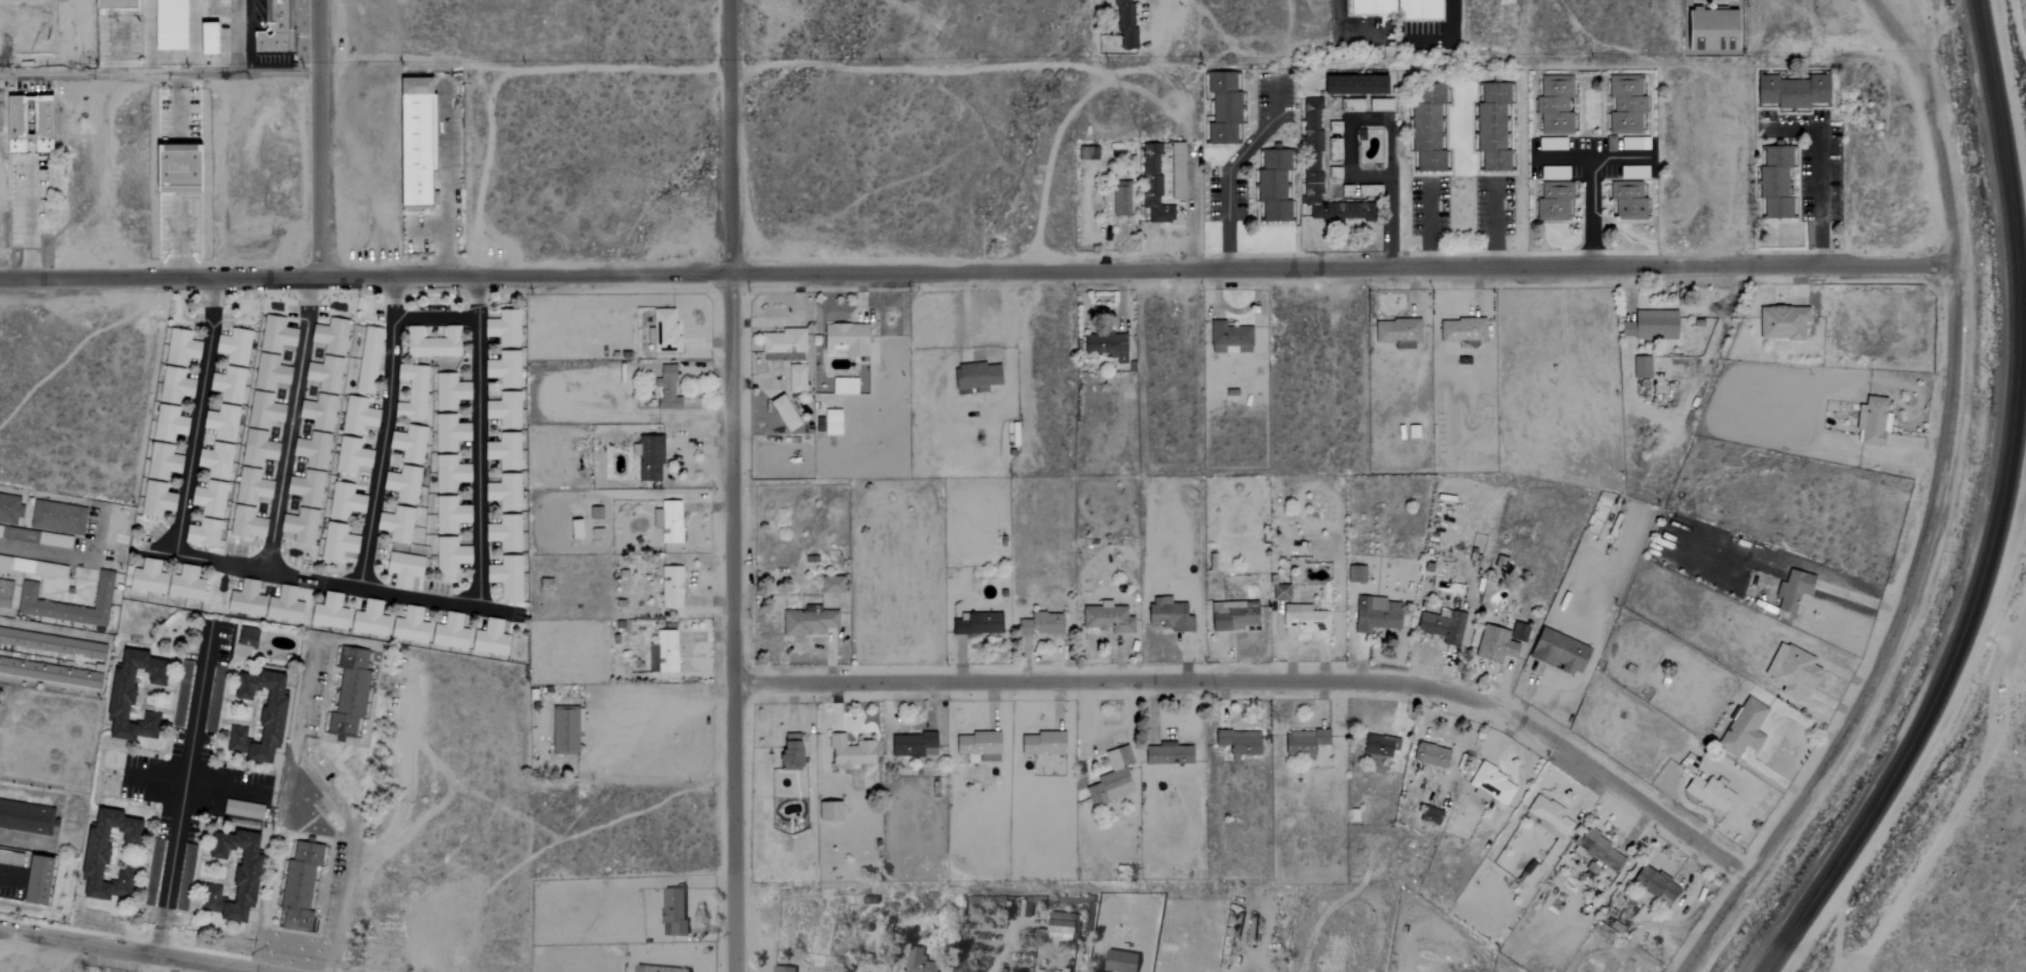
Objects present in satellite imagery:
building: (1395, 8)
road: (1146, 16)
building: (1123, 24)
building: (175, 25)
building: (1708, 29)
building: (278, 30)
building: (215, 39)
road: (1046, 64)
road: (158, 75)
road: (2013, 76)
building: (1350, 84)
building: (1791, 91)
building: (1378, 105)
building: (1553, 105)
building: (1624, 105)
road: (177, 106)
building: (1353, 106)
building: (1222, 109)
building: (34, 123)
building: (1425, 126)
building: (1491, 126)
building: (1332, 128)
road: (316, 139)
building: (423, 141)
building: (1633, 143)
building: (1549, 144)
building: (1310, 150)
building: (1332, 150)
road: (1591, 158)
building: (176, 166)
road: (1346, 166)
road: (1229, 167)
road: (1816, 170)
building: (1175, 171)
building: (1552, 172)
building: (1332, 173)
road: (448, 181)
building: (1774, 181)
building: (1271, 185)
building: (1151, 187)
building: (1344, 191)
building: (1367, 191)
road: (178, 194)
building: (1119, 198)
building: (1626, 200)
building: (1552, 201)
road: (1591, 214)
road: (29, 219)
parking lot: (177, 223)
road: (1429, 226)
road: (1492, 227)
road: (178, 239)
road: (975, 272)
road: (964, 316)
road: (433, 319)
building: (1780, 322)
building: (1649, 325)
building: (507, 328)
building: (663, 330)
building: (1461, 331)
building: (1396, 333)
building: (845, 338)
building: (1228, 338)
building: (436, 343)
building: (782, 345)
building: (1104, 345)
building: (237, 346)
building: (370, 360)
building: (1640, 368)
building: (507, 369)
building: (973, 376)
building: (794, 378)
building: (842, 386)
building: (663, 389)
building: (452, 391)
building: (414, 392)
building: (507, 410)
building: (780, 412)
building: (360, 416)
road: (196, 418)
building: (1869, 421)
building: (831, 422)
building: (170, 424)
building: (452, 432)
building: (221, 440)
building: (411, 443)
railway: (2004, 448)
building: (507, 451)
railway: (2014, 451)
road: (1941, 452)
building: (354, 456)
building: (646, 458)
building: (452, 474)
building: (406, 483)
road: (730, 485)
building: (253, 487)
building: (507, 492)
building: (212, 499)
building: (347, 501)
building: (11, 510)
building: (593, 513)
building: (453, 515)
building: (59, 518)
building: (668, 522)
building: (248, 523)
building: (399, 524)
building: (303, 526)
building: (572, 529)
building: (205, 533)
building: (507, 533)
building: (340, 542)
road: (64, 555)
building: (453, 556)
building: (408, 569)
building: (1354, 574)
building: (510, 578)
building: (170, 581)
building: (830, 585)
road: (339, 587)
building: (669, 587)
building: (1793, 590)
building: (29, 591)
building: (5, 593)
building: (1279, 593)
road: (426, 599)
road: (1860, 601)
building: (267, 603)
road: (493, 610)
building: (332, 612)
building: (1375, 615)
building: (1167, 616)
building: (1230, 616)
building: (1105, 618)
building: (372, 619)
building: (1304, 620)
building: (805, 621)
building: (976, 624)
building: (1039, 624)
building: (412, 626)
building: (1441, 627)
building: (1516, 632)
building: (453, 633)
building: (494, 639)
building: (249, 642)
building: (1493, 645)
building: (664, 651)
building: (1556, 652)
building: (1789, 670)
building: (186, 677)
road: (1267, 682)
building: (352, 694)
building: (137, 696)
building: (216, 700)
road: (663, 708)
building: (277, 716)
building: (1741, 729)
building: (563, 731)
road: (1935, 740)
building: (1237, 742)
building: (1303, 742)
building: (1040, 743)
building: (911, 745)
building: (976, 745)
building: (1378, 746)
building: (787, 751)
building: (847, 753)
building: (1165, 754)
building: (1430, 756)
road: (146, 778)
building: (1110, 778)
road: (226, 785)
building: (1490, 786)
road: (182, 790)
building: (1707, 795)
road: (335, 804)
building: (245, 810)
building: (826, 811)
building: (1428, 816)
building: (1548, 817)
building: (26, 818)
building: (1596, 850)
building: (112, 855)
building: (244, 872)
road: (9, 878)
building: (188, 878)
building: (42, 881)
building: (301, 884)
building: (1653, 886)
building: (669, 912)
railway: (1795, 917)
railway: (1804, 919)
road: (1714, 924)
building: (1057, 927)
road: (123, 951)
building: (915, 962)
building: (1115, 962)
building: (652, 969)
building: (777, 969)

